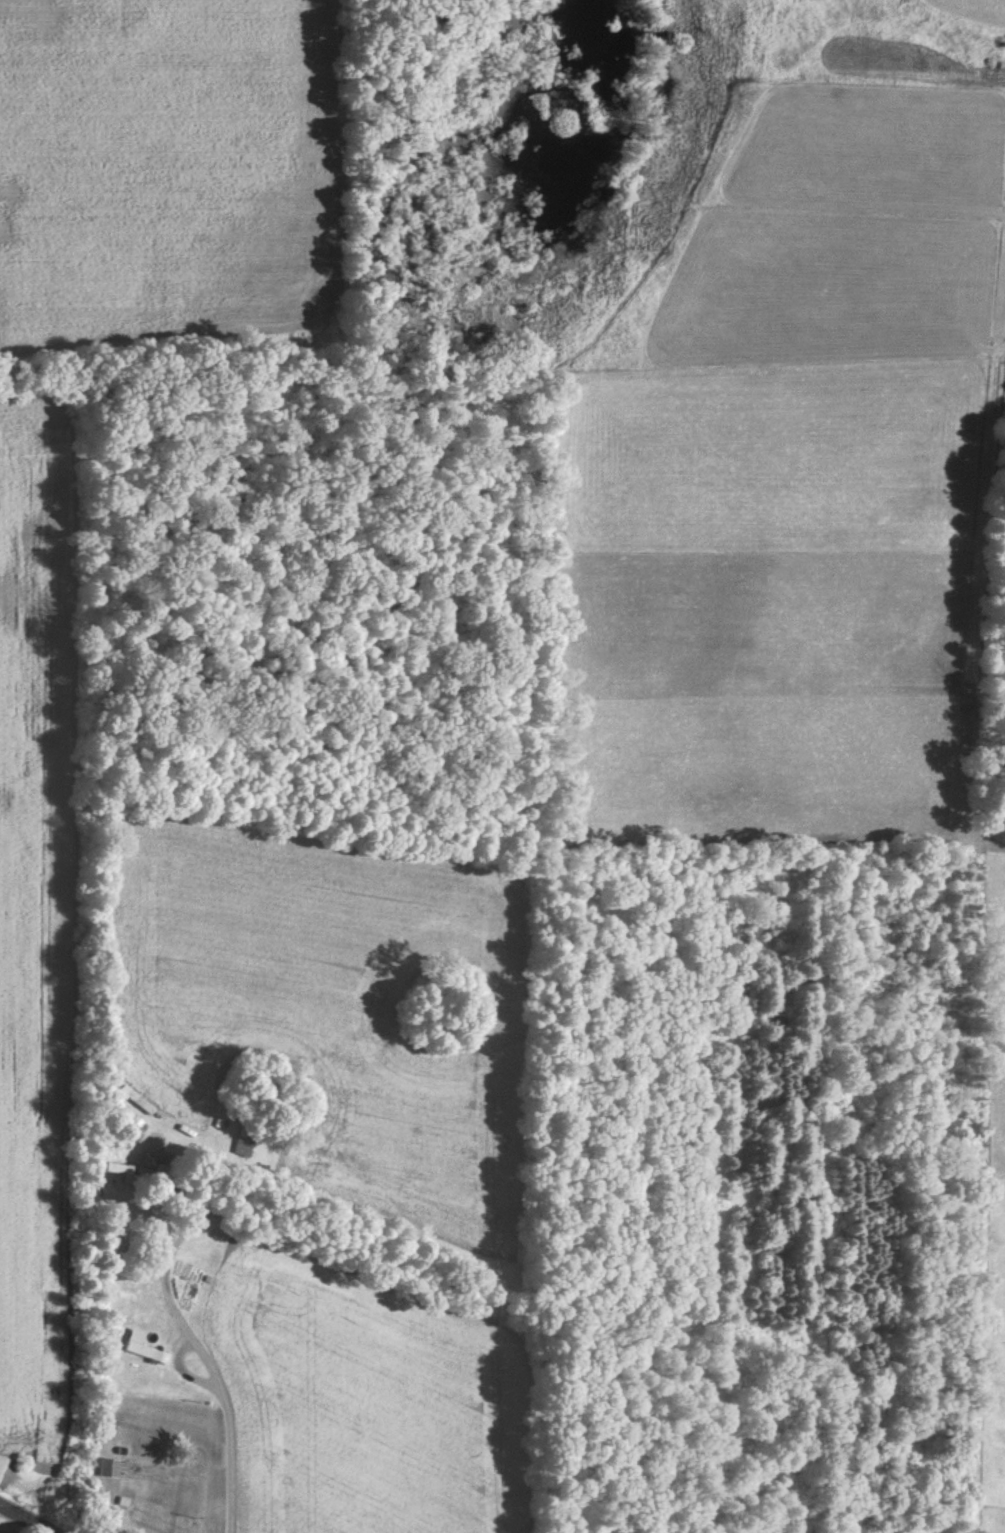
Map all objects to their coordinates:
building: (135, 1103)
building: (243, 1145)
road: (208, 1163)
building: (143, 1351)
building: (130, 1472)
road: (26, 1519)

